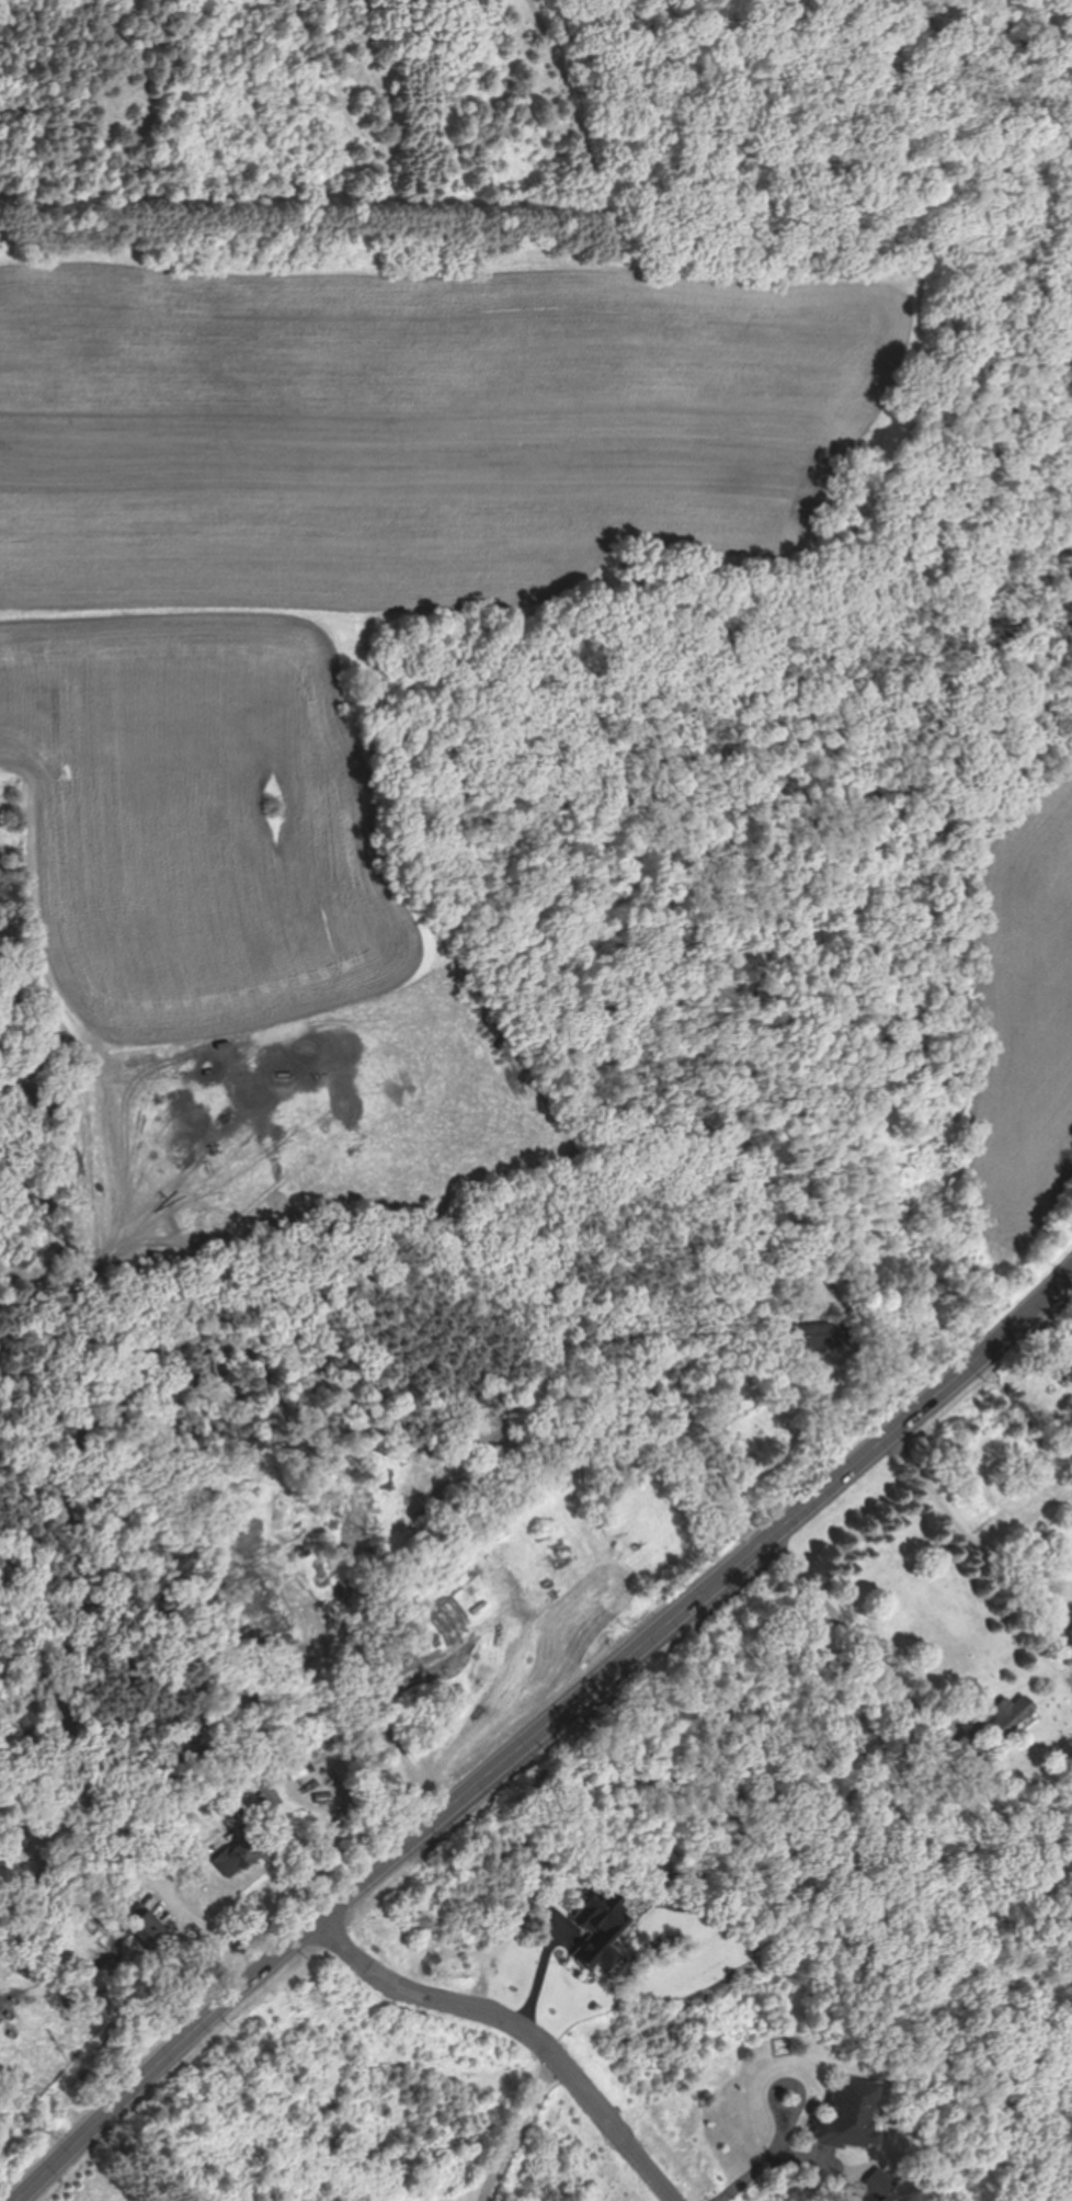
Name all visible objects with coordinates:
building: (812, 1335)
building: (1064, 1360)
road: (962, 1528)
road: (854, 1637)
building: (1008, 1713)
road: (545, 1726)
building: (269, 1797)
building: (238, 1853)
building: (146, 1927)
road: (215, 1935)
road: (524, 2023)
building: (849, 2113)
road: (520, 2126)
road: (764, 2166)

